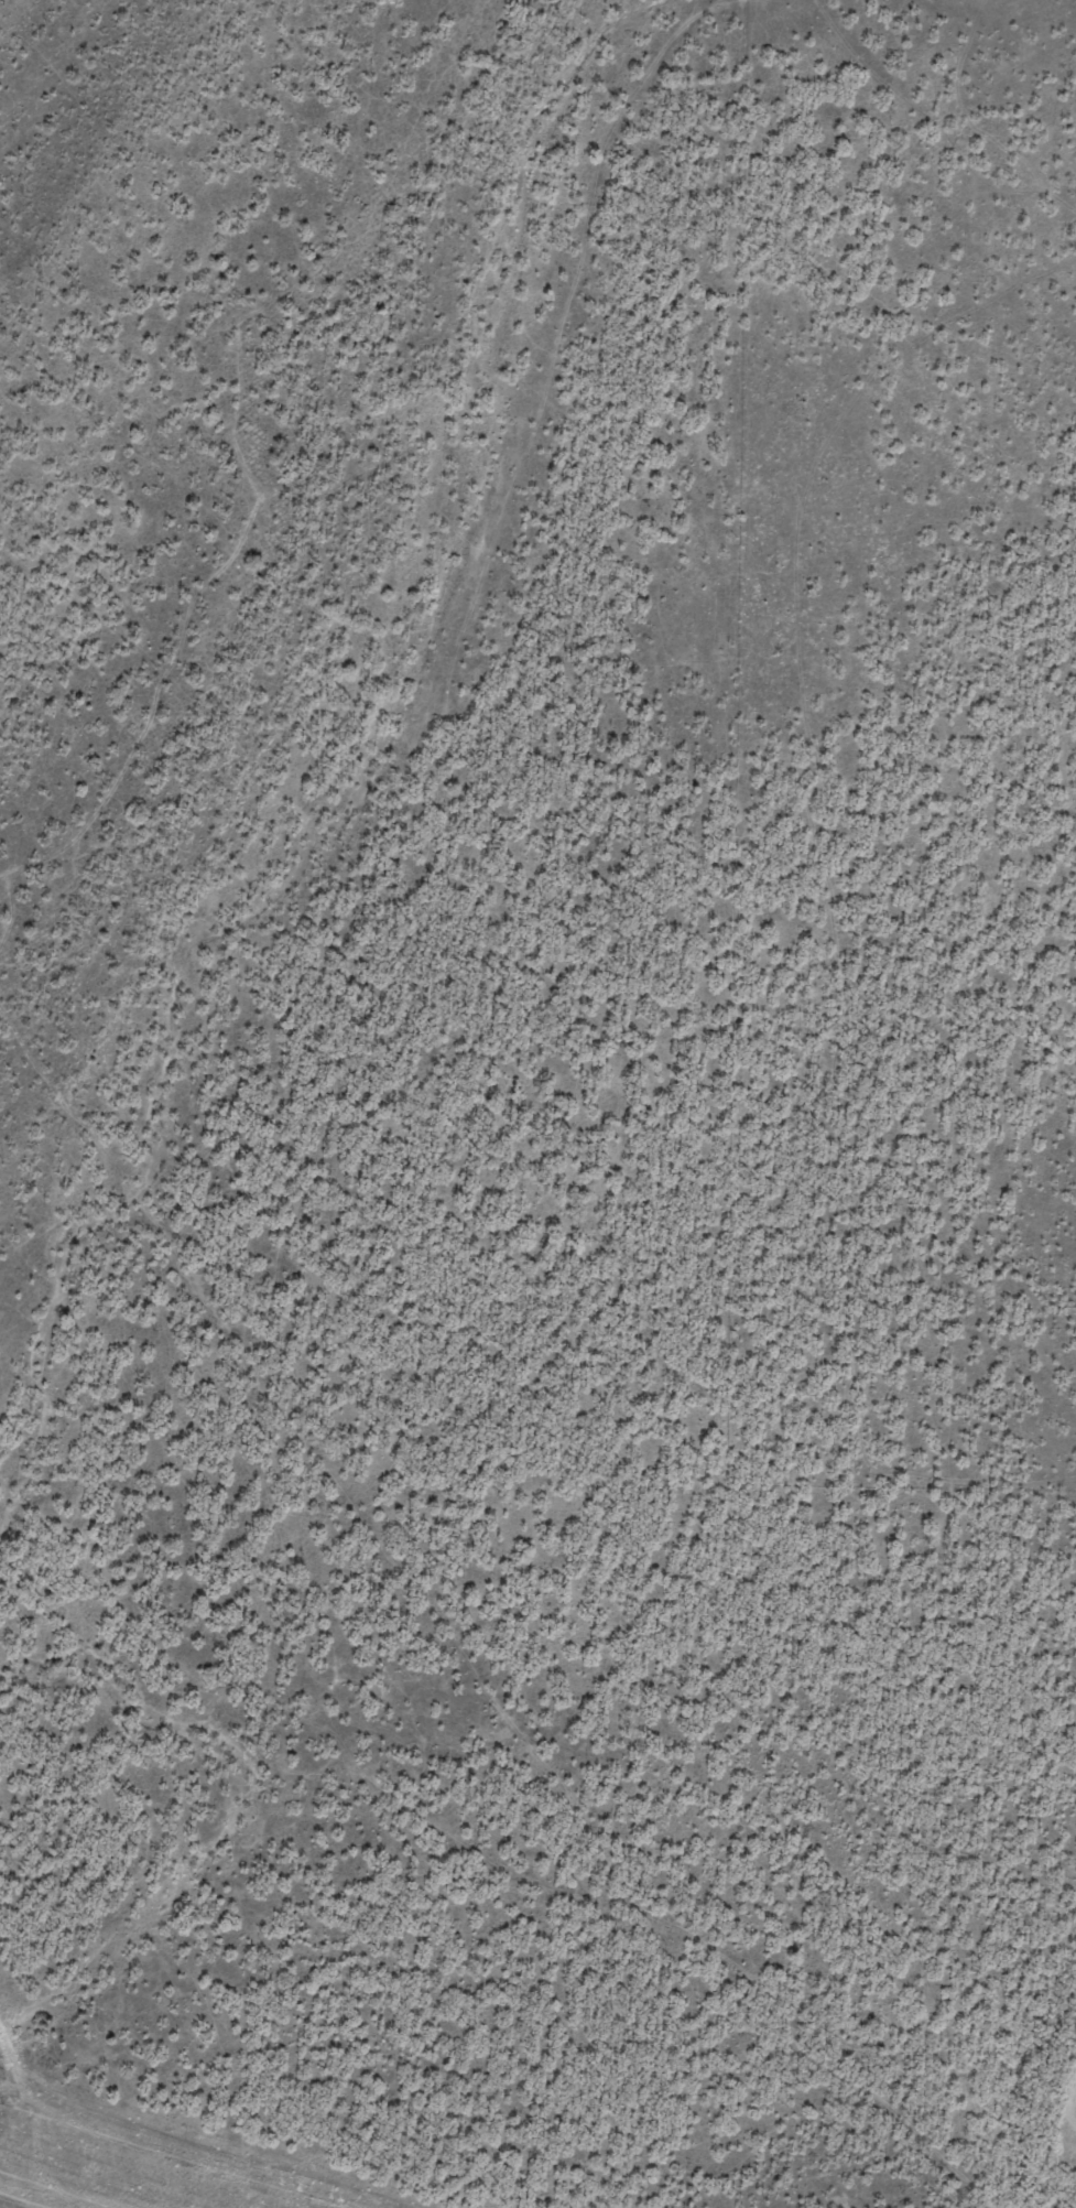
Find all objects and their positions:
power tower: (4, 2104)

